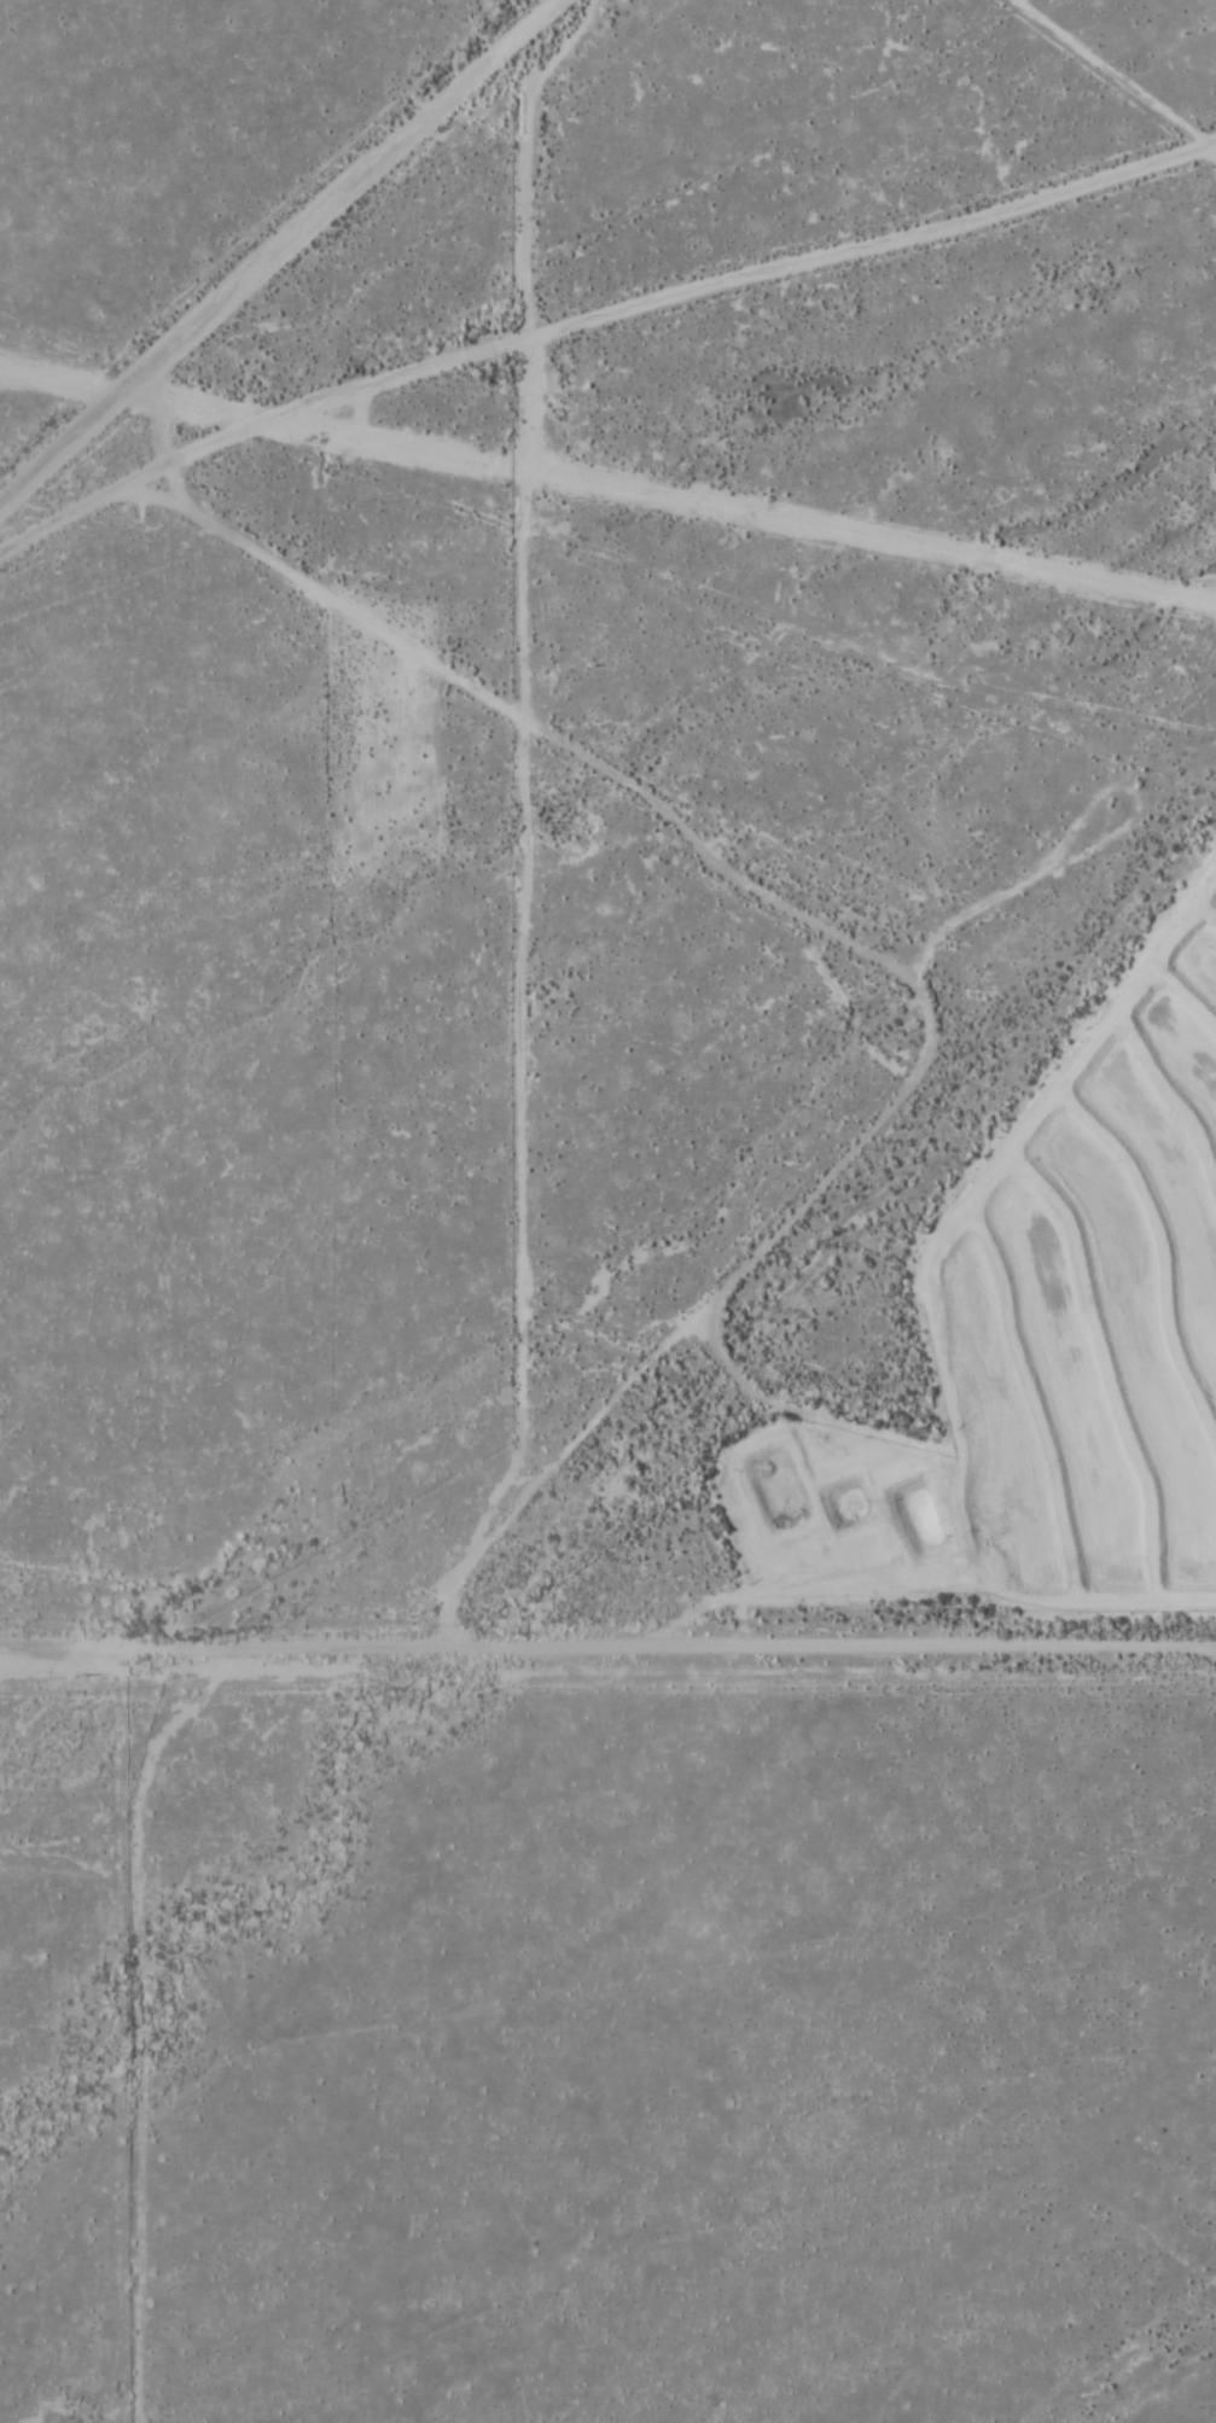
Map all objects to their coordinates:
road: (328, 263)
road: (598, 368)
road: (607, 1687)

